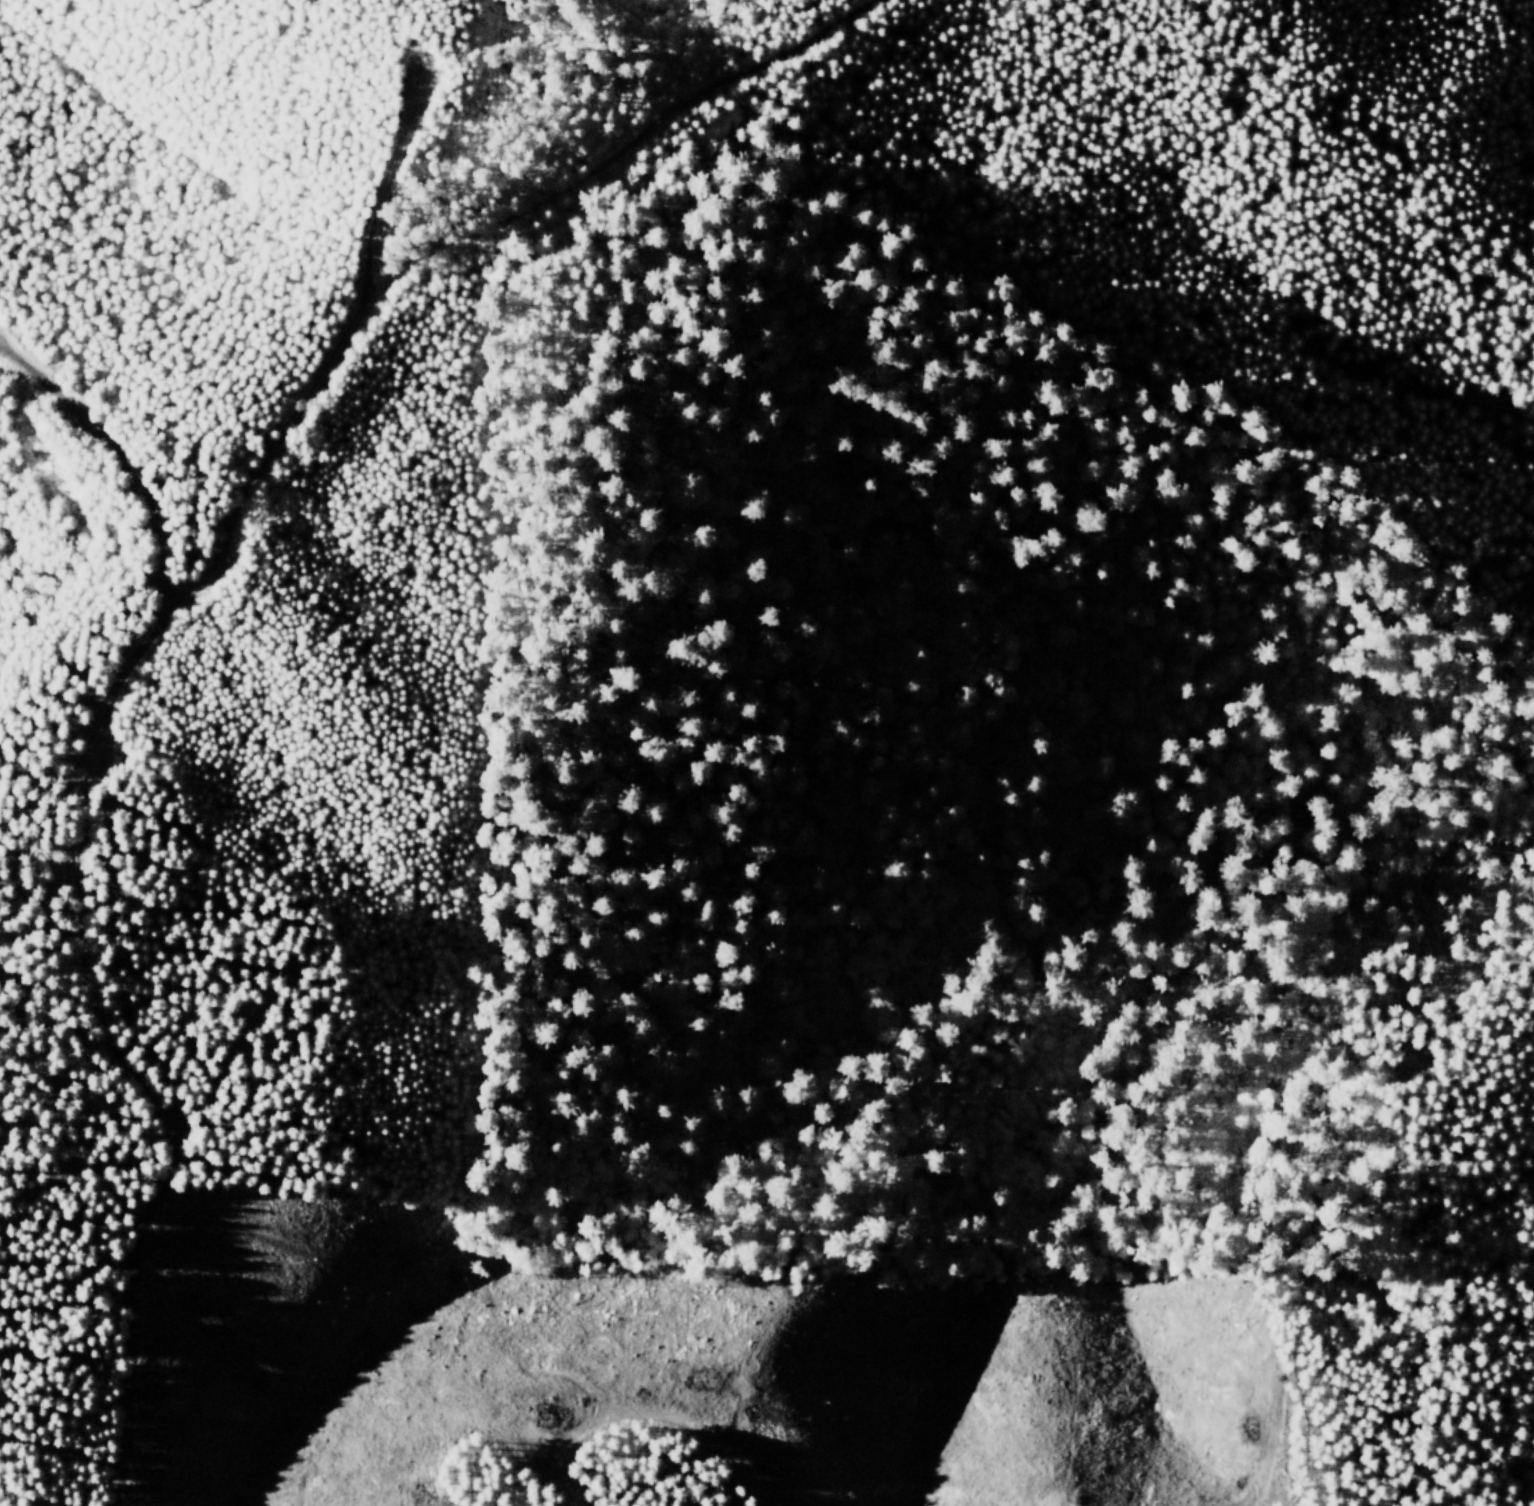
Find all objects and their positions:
road: (118, 466)
road: (175, 606)

